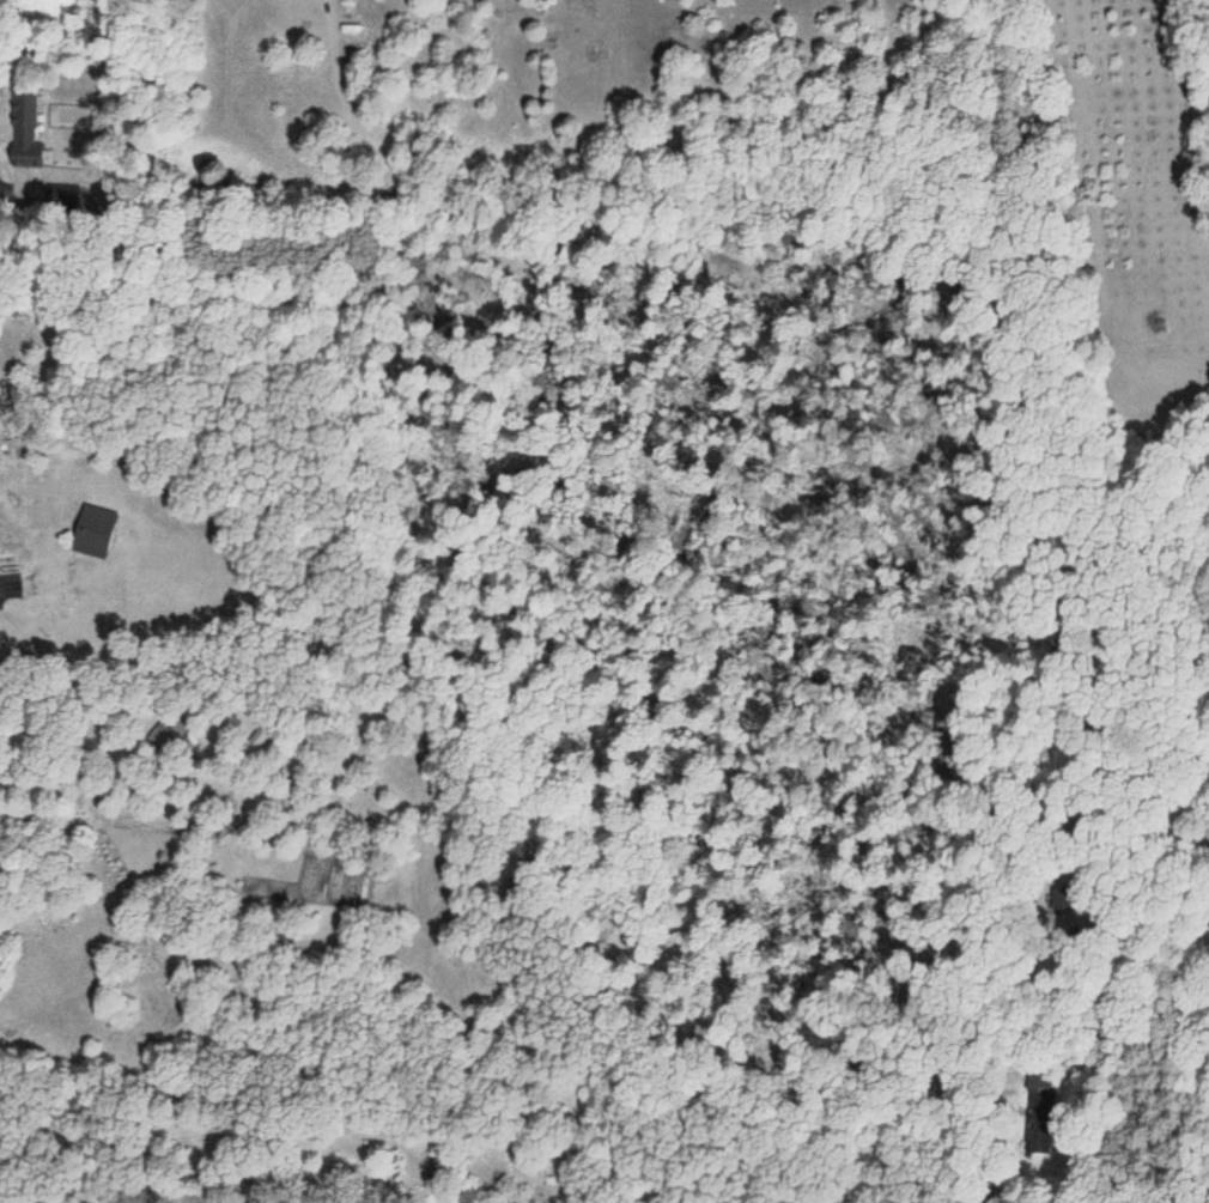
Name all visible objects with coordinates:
building: (23, 129)
building: (92, 535)
building: (8, 563)
building: (1061, 1092)

